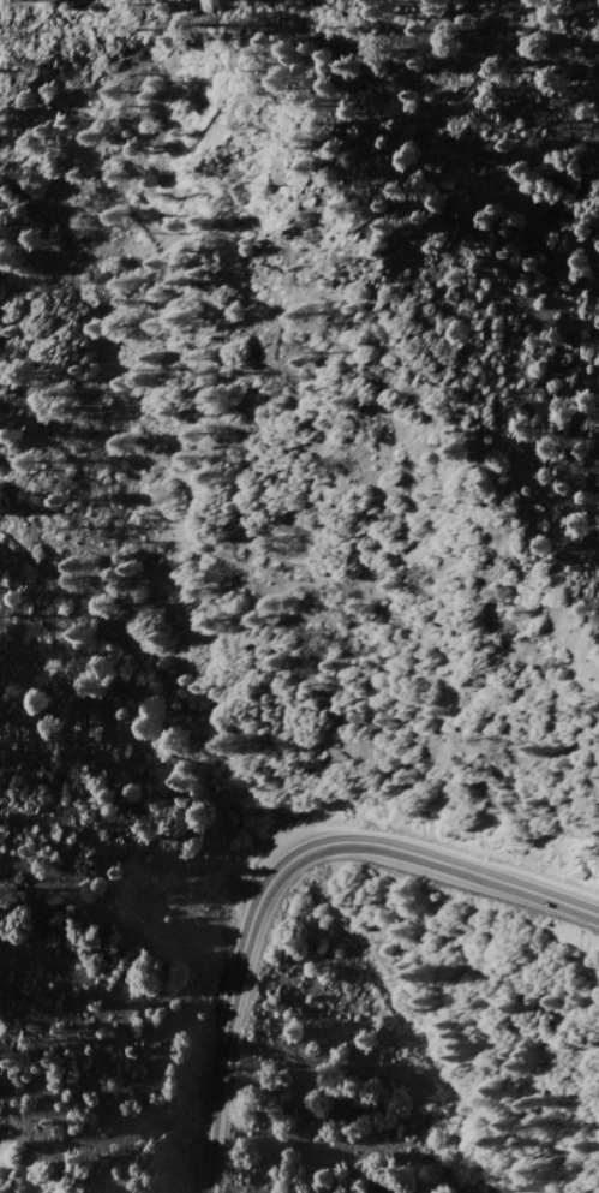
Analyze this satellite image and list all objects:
road: (281, 867)

